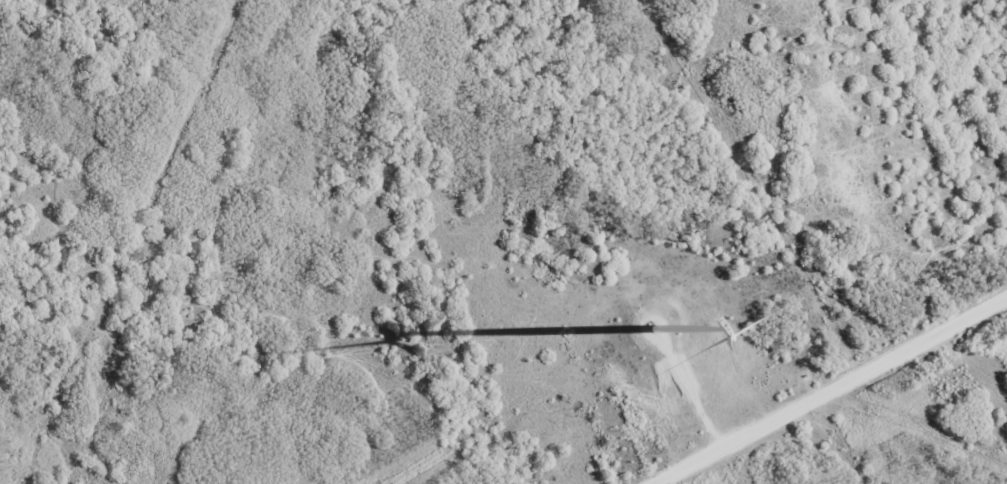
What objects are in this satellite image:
wind turbine: (652, 330)
road: (828, 390)

